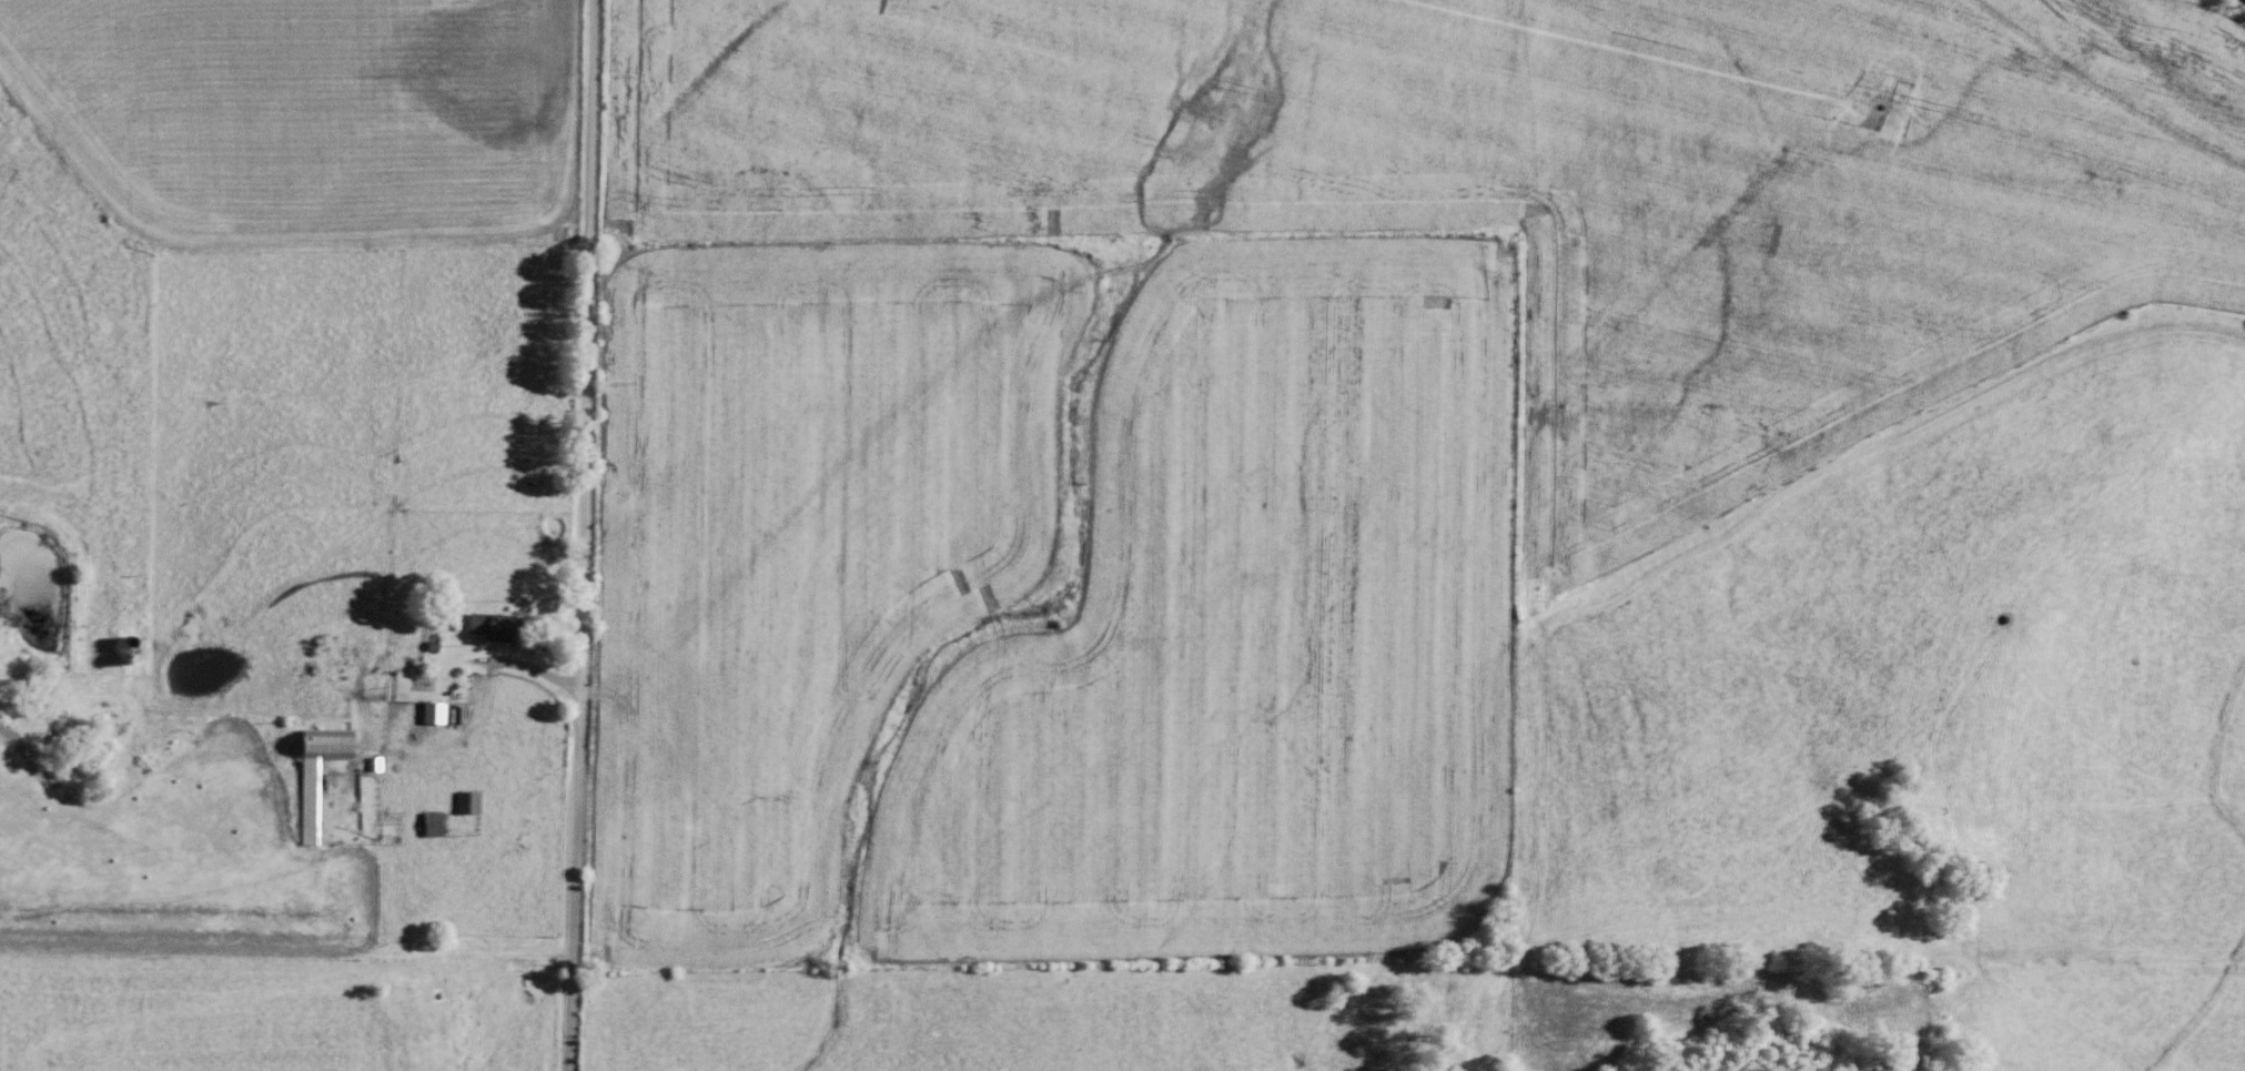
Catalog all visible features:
road: (584, 535)
building: (493, 630)
building: (434, 717)
building: (309, 807)
building: (433, 829)

